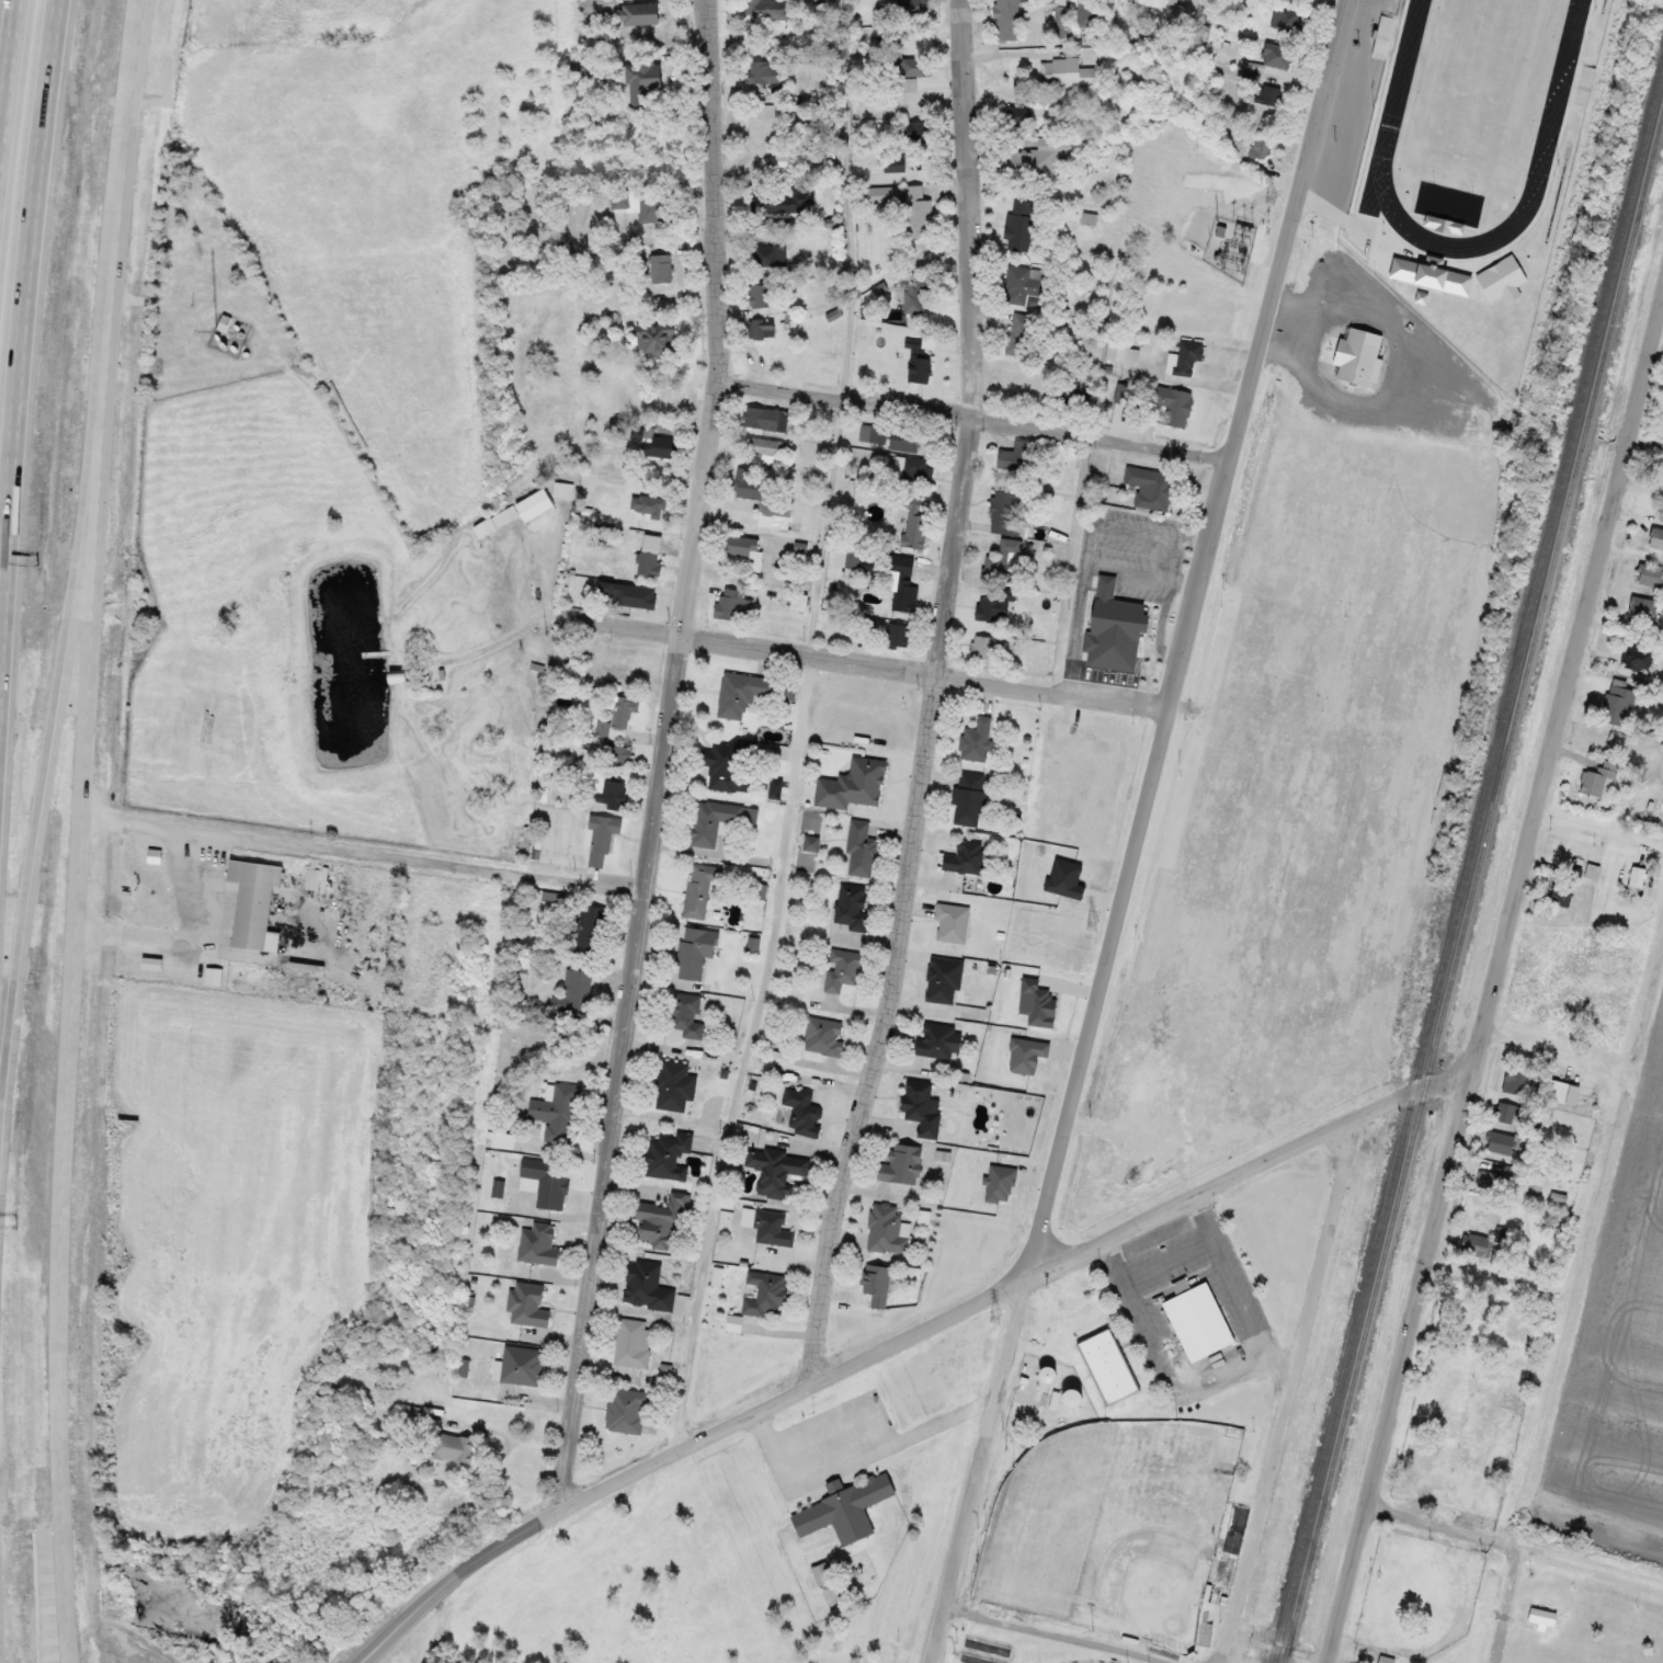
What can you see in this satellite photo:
building: (824, 1)
building: (1154, 2)
building: (916, 8)
building: (767, 10)
building: (1085, 11)
building: (1060, 12)
building: (640, 13)
building: (1006, 20)
road: (1216, 33)
power tower: (1320, 36)
building: (1276, 53)
building: (916, 66)
building: (1066, 72)
building: (766, 73)
building: (646, 78)
track: (1560, 80)
road: (10, 99)
building: (1015, 114)
building: (767, 129)
building: (1033, 158)
building: (895, 163)
power tower: (1273, 198)
building: (765, 201)
building: (640, 203)
building: (1447, 210)
building: (918, 214)
building: (1020, 225)
power substation: (1231, 240)
crop: (356, 243)
building: (767, 255)
building: (660, 269)
building: (1433, 278)
building: (1505, 281)
building: (1025, 284)
building: (759, 296)
road: (22, 311)
road: (1661, 320)
building: (760, 328)
building: (1020, 333)
building: (658, 341)
building: (1121, 351)
building: (1188, 356)
building: (1357, 356)
building: (919, 368)
building: (1077, 396)
building: (1172, 403)
road: (972, 415)
building: (765, 419)
building: (890, 436)
building: (653, 443)
building: (761, 449)
building: (1016, 455)
building: (919, 471)
crop: (239, 476)
building: (755, 487)
building: (1152, 487)
building: (524, 510)
building: (657, 511)
building: (1006, 512)
building: (914, 524)
building: (1655, 537)
power tower: (1187, 538)
building: (741, 544)
building: (1004, 556)
building: (856, 561)
building: (648, 563)
building: (1650, 576)
building: (627, 595)
building: (798, 602)
building: (732, 604)
building: (999, 607)
building: (1643, 607)
building: (1113, 627)
building: (865, 630)
building: (899, 635)
road: (1185, 638)
building: (993, 647)
building: (1639, 654)
road: (858, 665)
building: (618, 668)
building: (399, 676)
building: (741, 694)
road: (927, 697)
crop: (243, 699)
building: (1617, 704)
building: (619, 717)
road: (54, 719)
road: (796, 731)
building: (977, 741)
road: (661, 753)
building: (615, 754)
building: (727, 766)
building: (1596, 777)
building: (858, 784)
building: (610, 791)
building: (969, 799)
building: (711, 821)
road: (1588, 829)
road: (82, 830)
building: (601, 838)
building: (151, 851)
building: (861, 851)
building: (965, 858)
railway: (1468, 865)
road: (521, 873)
building: (1568, 881)
railway: (1472, 885)
building: (702, 889)
building: (255, 904)
building: (851, 908)
power tower: (1097, 918)
building: (952, 923)
building: (592, 930)
building: (695, 952)
building: (842, 970)
building: (943, 980)
road: (1493, 983)
building: (579, 991)
building: (687, 1016)
building: (824, 1037)
building: (935, 1040)
road: (1533, 1045)
building: (783, 1059)
building: (675, 1086)
building: (1559, 1091)
building: (923, 1109)
building: (802, 1113)
building: (1508, 1113)
building: (559, 1114)
building: (1499, 1142)
building: (669, 1157)
building: (901, 1164)
building: (777, 1170)
building: (1487, 1180)
building: (547, 1182)
building: (661, 1226)
building: (772, 1230)
building: (886, 1230)
crop: (224, 1238)
building: (1474, 1243)
building: (539, 1245)
building: (876, 1285)
building: (647, 1287)
building: (765, 1295)
building: (529, 1306)
power tower: (999, 1310)
building: (1195, 1319)
road: (900, 1342)
building: (634, 1343)
crop: (1620, 1364)
building: (523, 1366)
road: (1289, 1390)
building: (627, 1411)
building: (408, 1414)
building: (452, 1447)
road: (979, 1470)
building: (847, 1510)
road: (1442, 1524)
park: (1114, 1526)
park: (1109, 1536)
building: (822, 1574)
road: (1511, 1604)
building: (1542, 1616)
road: (1071, 1633)
road: (1280, 1648)
park: (1085, 1661)

